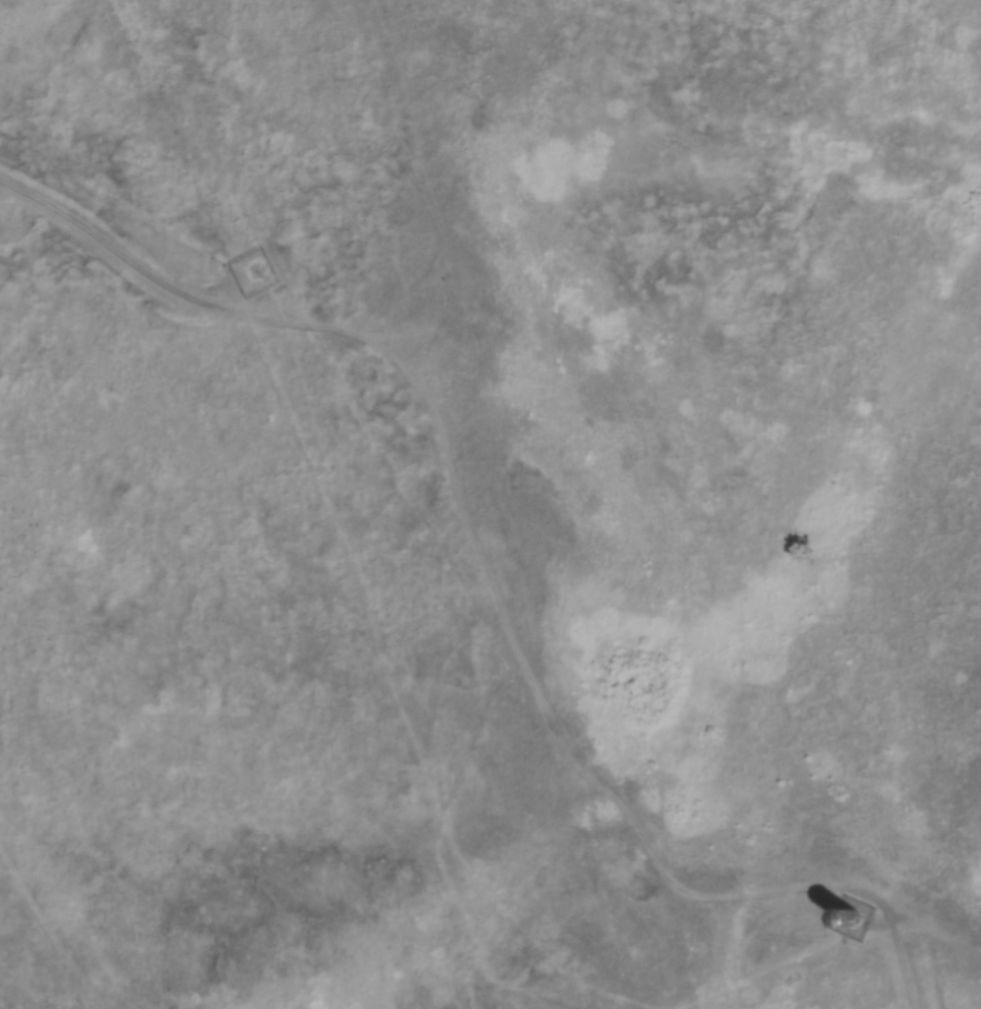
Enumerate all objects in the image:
water tower: (849, 917)

